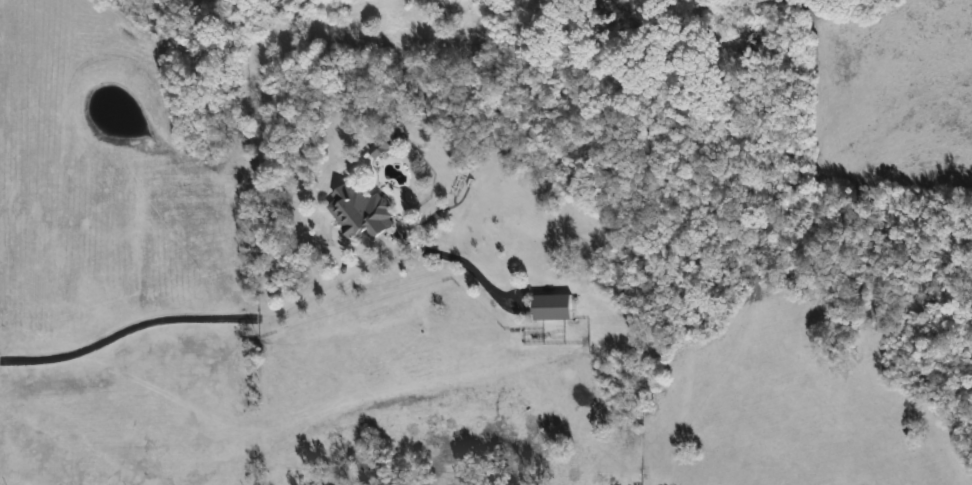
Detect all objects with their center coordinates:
building: (358, 213)
building: (550, 307)
road: (269, 318)

